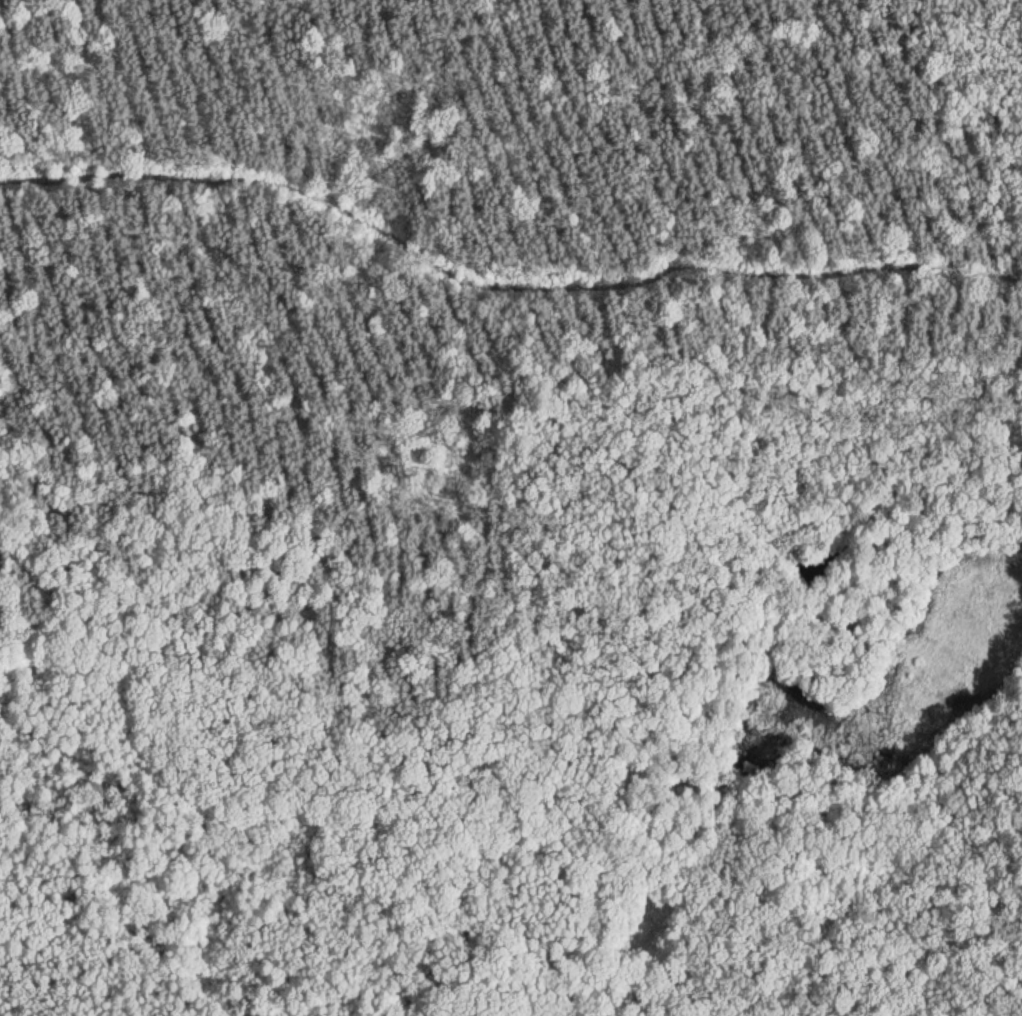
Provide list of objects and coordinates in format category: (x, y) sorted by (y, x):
road: (508, 231)

